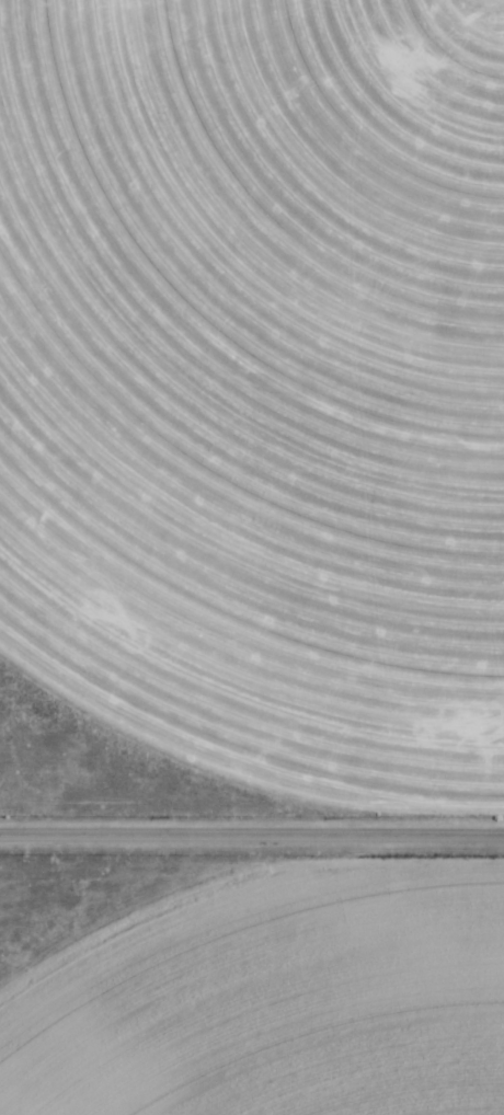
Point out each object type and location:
road: (252, 837)

